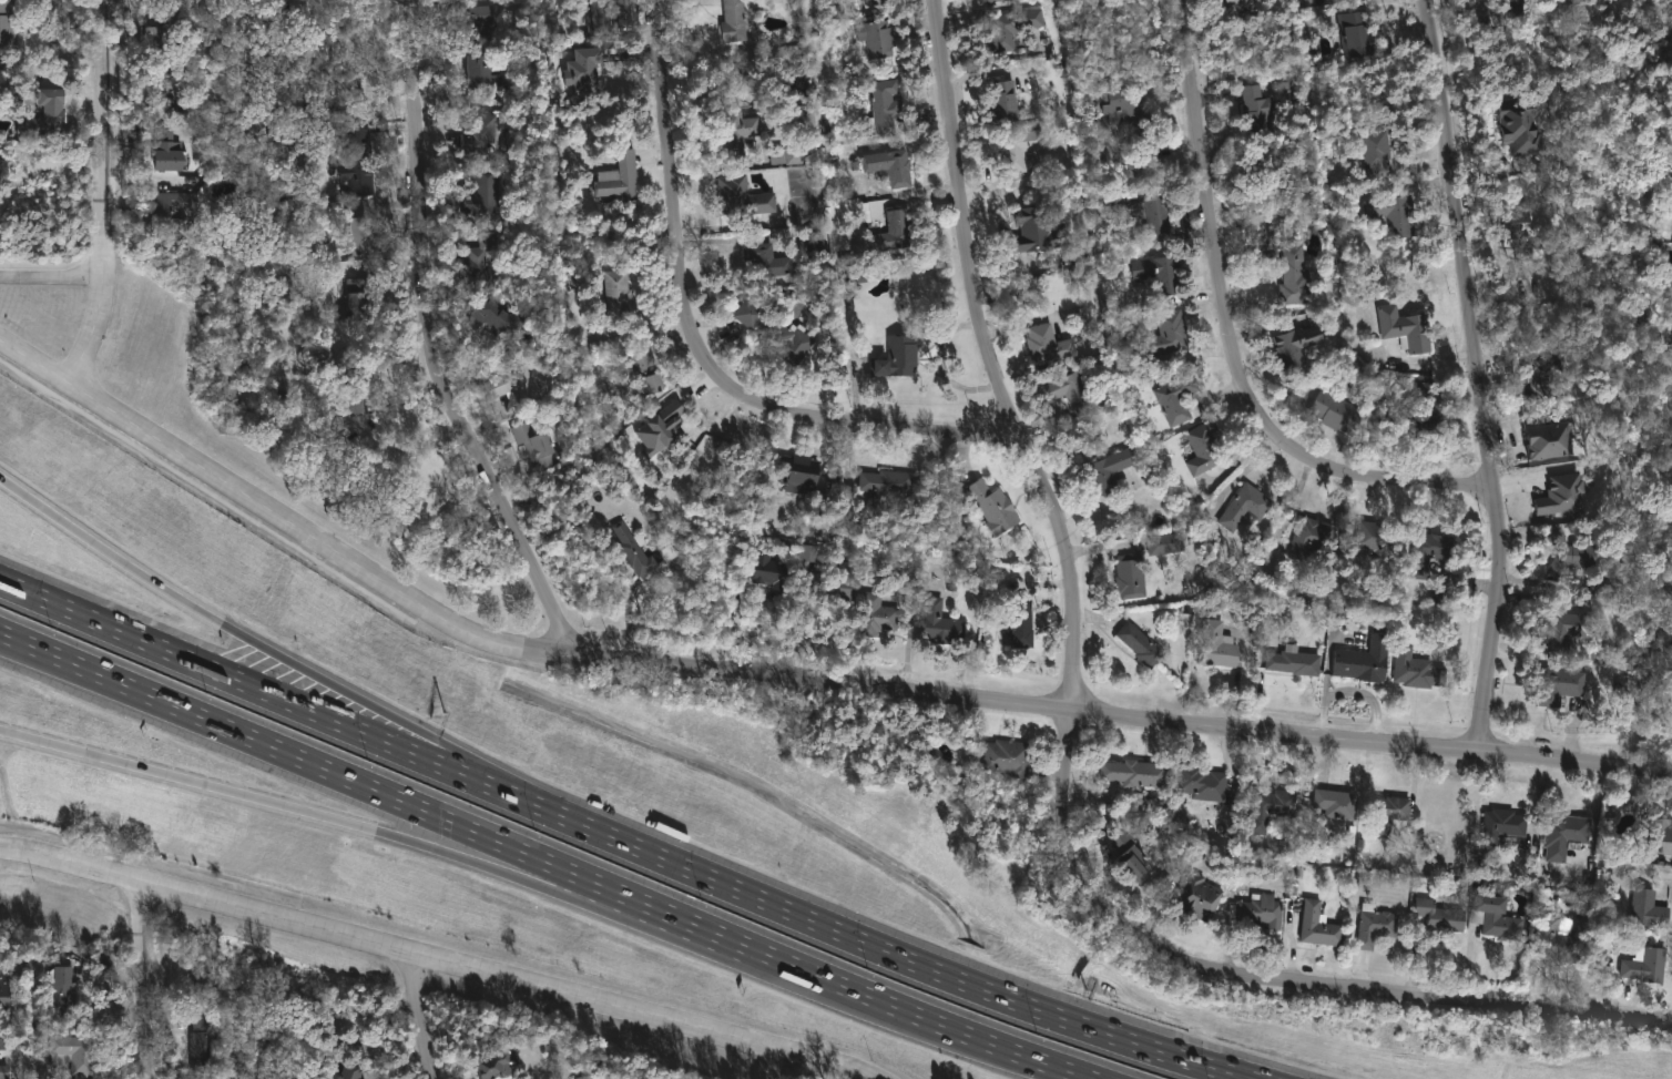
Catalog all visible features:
building: (874, 1)
building: (993, 1)
building: (1243, 3)
road: (1362, 3)
building: (1518, 8)
building: (600, 14)
building: (735, 18)
building: (481, 19)
building: (10, 21)
building: (1010, 26)
building: (165, 28)
building: (1358, 33)
building: (881, 39)
building: (346, 43)
road: (733, 58)
building: (826, 61)
building: (486, 70)
building: (583, 71)
building: (1008, 99)
building: (1261, 104)
building: (887, 106)
building: (1123, 110)
building: (48, 113)
building: (1527, 126)
building: (738, 128)
building: (483, 132)
building: (1379, 145)
building: (1021, 149)
building: (171, 151)
building: (791, 154)
building: (361, 163)
building: (891, 165)
road: (44, 166)
building: (621, 176)
road: (106, 194)
building: (487, 194)
building: (745, 196)
road: (914, 199)
building: (173, 210)
building: (1396, 214)
building: (1160, 215)
building: (1039, 228)
building: (895, 231)
building: (1519, 234)
building: (363, 237)
building: (817, 243)
building: (768, 259)
building: (483, 261)
building: (1161, 273)
building: (1296, 276)
road: (52, 277)
building: (620, 294)
building: (1495, 297)
building: (356, 299)
building: (751, 313)
building: (496, 316)
building: (1408, 328)
building: (1173, 330)
road: (1232, 336)
building: (795, 340)
building: (1298, 344)
building: (1050, 345)
road: (701, 346)
road: (429, 347)
building: (899, 357)
road: (991, 360)
road: (944, 363)
building: (650, 370)
road: (1481, 374)
building: (1541, 377)
building: (514, 385)
building: (354, 386)
building: (1425, 389)
building: (1075, 390)
building: (1177, 398)
building: (1338, 411)
building: (1434, 424)
building: (659, 429)
building: (1554, 441)
road: (417, 446)
building: (537, 446)
building: (1206, 447)
building: (802, 470)
building: (1112, 471)
building: (893, 482)
building: (1563, 497)
building: (996, 507)
building: (1246, 508)
building: (1313, 537)
building: (1380, 539)
building: (1170, 542)
building: (638, 548)
building: (1430, 552)
building: (809, 553)
building: (1576, 553)
building: (775, 572)
building: (1133, 574)
building: (839, 583)
road: (176, 593)
road: (631, 602)
road: (648, 611)
building: (881, 613)
building: (944, 623)
building: (1022, 623)
road: (803, 625)
building: (1574, 629)
building: (1670, 638)
building: (1143, 644)
building: (1220, 647)
building: (1367, 661)
building: (1296, 663)
building: (1419, 669)
road: (793, 675)
building: (1564, 685)
road: (305, 708)
building: (1010, 757)
road: (487, 765)
building: (1139, 773)
building: (1204, 784)
road: (234, 791)
building: (1338, 804)
building: (1270, 811)
building: (1391, 814)
building: (1505, 825)
building: (1563, 834)
building: (1661, 836)
road: (504, 844)
building: (1134, 855)
building: (1200, 897)
building: (1650, 909)
building: (1264, 910)
building: (1442, 915)
building: (1499, 918)
building: (1321, 926)
building: (1377, 927)
building: (1560, 940)
road: (430, 957)
road: (737, 957)
building: (1648, 965)
road: (929, 967)
road: (146, 978)
road: (1274, 979)
building: (63, 993)
building: (6, 994)
road: (424, 1015)
building: (3, 1041)
building: (207, 1042)
building: (75, 1050)
road: (1050, 1065)
building: (495, 1066)
building: (3, 1071)
building: (350, 1072)
building: (220, 1076)

